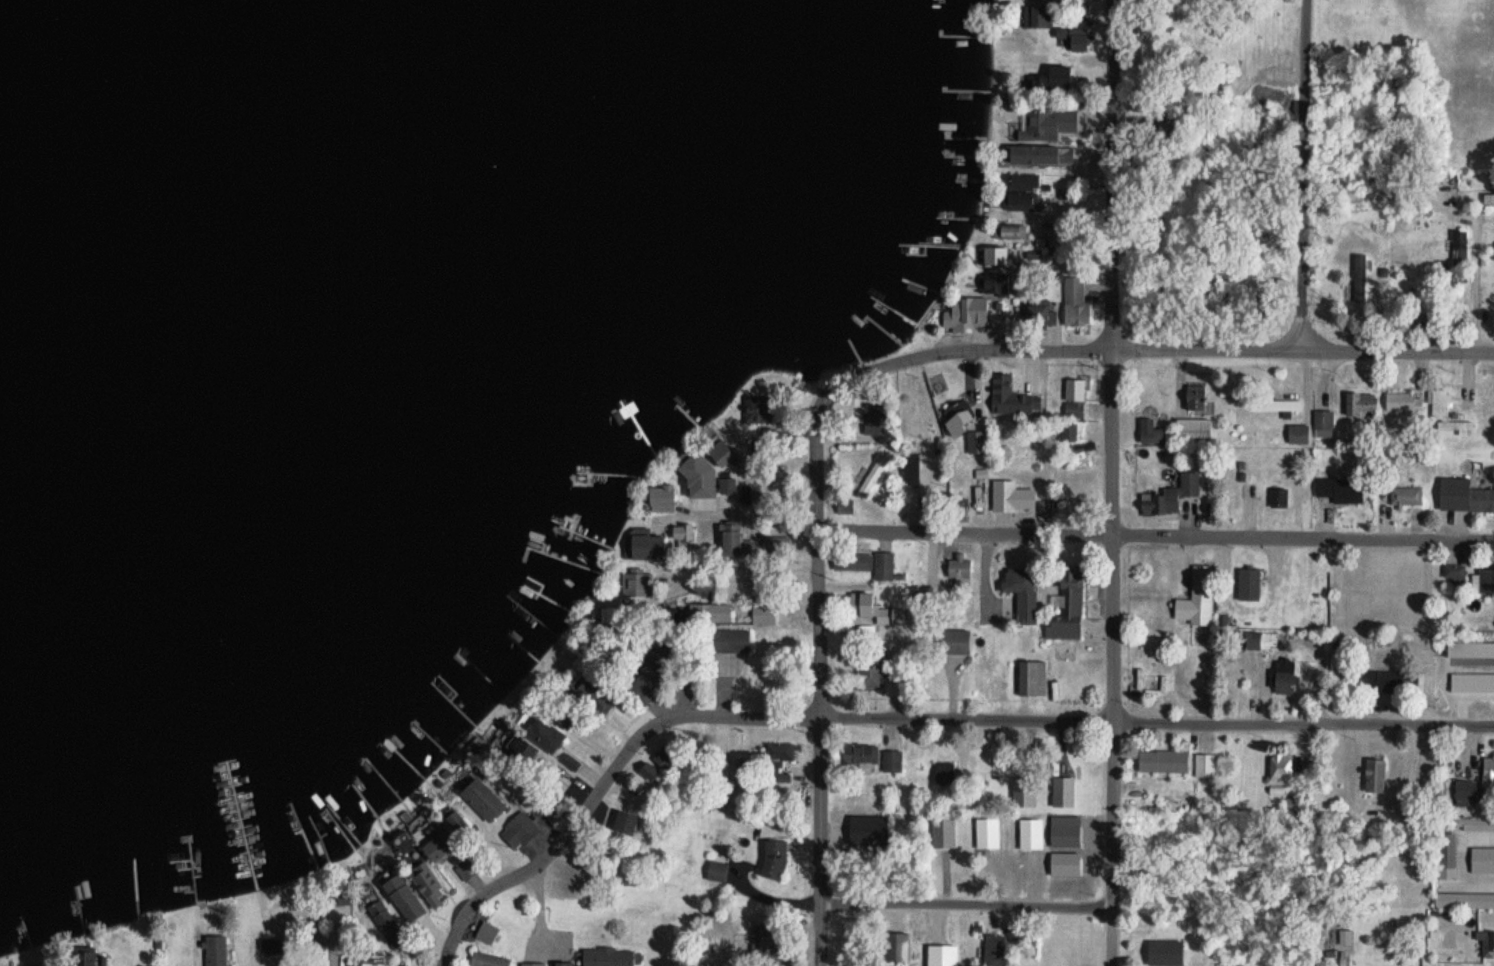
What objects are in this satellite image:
building: (1052, 0)
building: (1037, 17)
building: (1074, 38)
building: (1034, 62)
building: (1040, 83)
building: (1053, 122)
building: (1054, 159)
road: (1300, 172)
building: (1020, 181)
building: (1019, 200)
building: (1011, 228)
building: (1456, 240)
building: (997, 255)
road: (1476, 278)
building: (1075, 301)
building: (1040, 312)
building: (964, 313)
building: (1454, 314)
building: (1418, 317)
road: (1152, 346)
building: (1012, 397)
building: (1074, 397)
building: (1196, 397)
building: (1403, 401)
building: (1362, 403)
building: (1277, 405)
building: (1444, 411)
building: (1323, 419)
building: (956, 425)
building: (1068, 430)
building: (1193, 430)
building: (1298, 434)
building: (977, 443)
building: (722, 453)
building: (1389, 458)
building: (912, 468)
building: (873, 474)
building: (696, 478)
road: (1113, 482)
building: (727, 485)
building: (1340, 490)
building: (1170, 495)
building: (1406, 495)
building: (1464, 495)
building: (1011, 496)
building: (662, 497)
building: (1278, 497)
building: (845, 505)
road: (1099, 535)
building: (733, 538)
building: (684, 539)
building: (648, 543)
building: (772, 543)
building: (871, 562)
building: (959, 567)
building: (1453, 572)
road: (738, 577)
building: (1485, 579)
building: (634, 581)
building: (1249, 582)
building: (1021, 590)
building: (861, 603)
building: (1067, 606)
building: (1194, 608)
building: (709, 611)
building: (762, 613)
building: (1261, 639)
building: (730, 640)
building: (869, 671)
road: (819, 672)
building: (1031, 676)
building: (1284, 676)
building: (1381, 682)
building: (528, 719)
road: (907, 719)
building: (511, 742)
building: (477, 748)
building: (665, 755)
building: (861, 757)
building: (891, 759)
building: (777, 760)
building: (1163, 760)
building: (1204, 763)
building: (1280, 767)
building: (650, 771)
building: (1374, 774)
building: (1488, 777)
building: (1465, 790)
building: (551, 805)
building: (626, 821)
building: (1469, 823)
building: (523, 828)
building: (868, 828)
building: (439, 843)
building: (1446, 855)
building: (773, 858)
building: (1070, 858)
building: (1482, 859)
building: (432, 893)
building: (405, 896)
building: (1464, 900)
road: (965, 905)
building: (486, 932)
building: (768, 940)
building: (1486, 942)
building: (896, 945)
building: (215, 948)
building: (993, 949)
building: (1165, 952)
building: (610, 956)
building: (489, 959)
building: (532, 963)
building: (564, 963)

